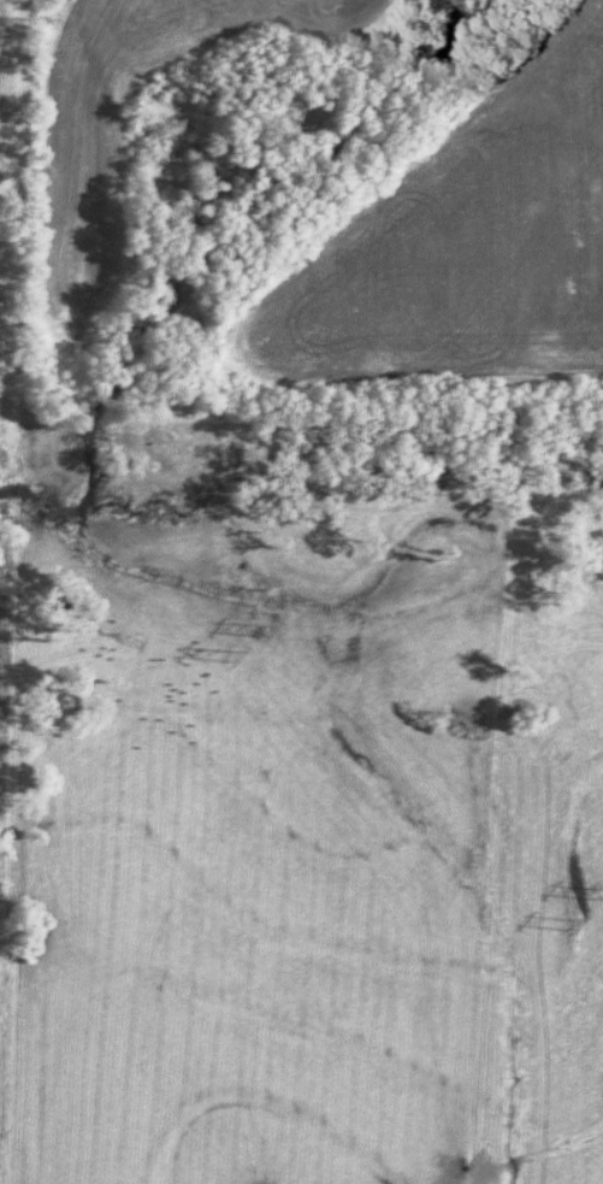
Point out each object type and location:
power tower: (255, 622)
power tower: (232, 658)
power tower: (592, 884)
power tower: (571, 925)

